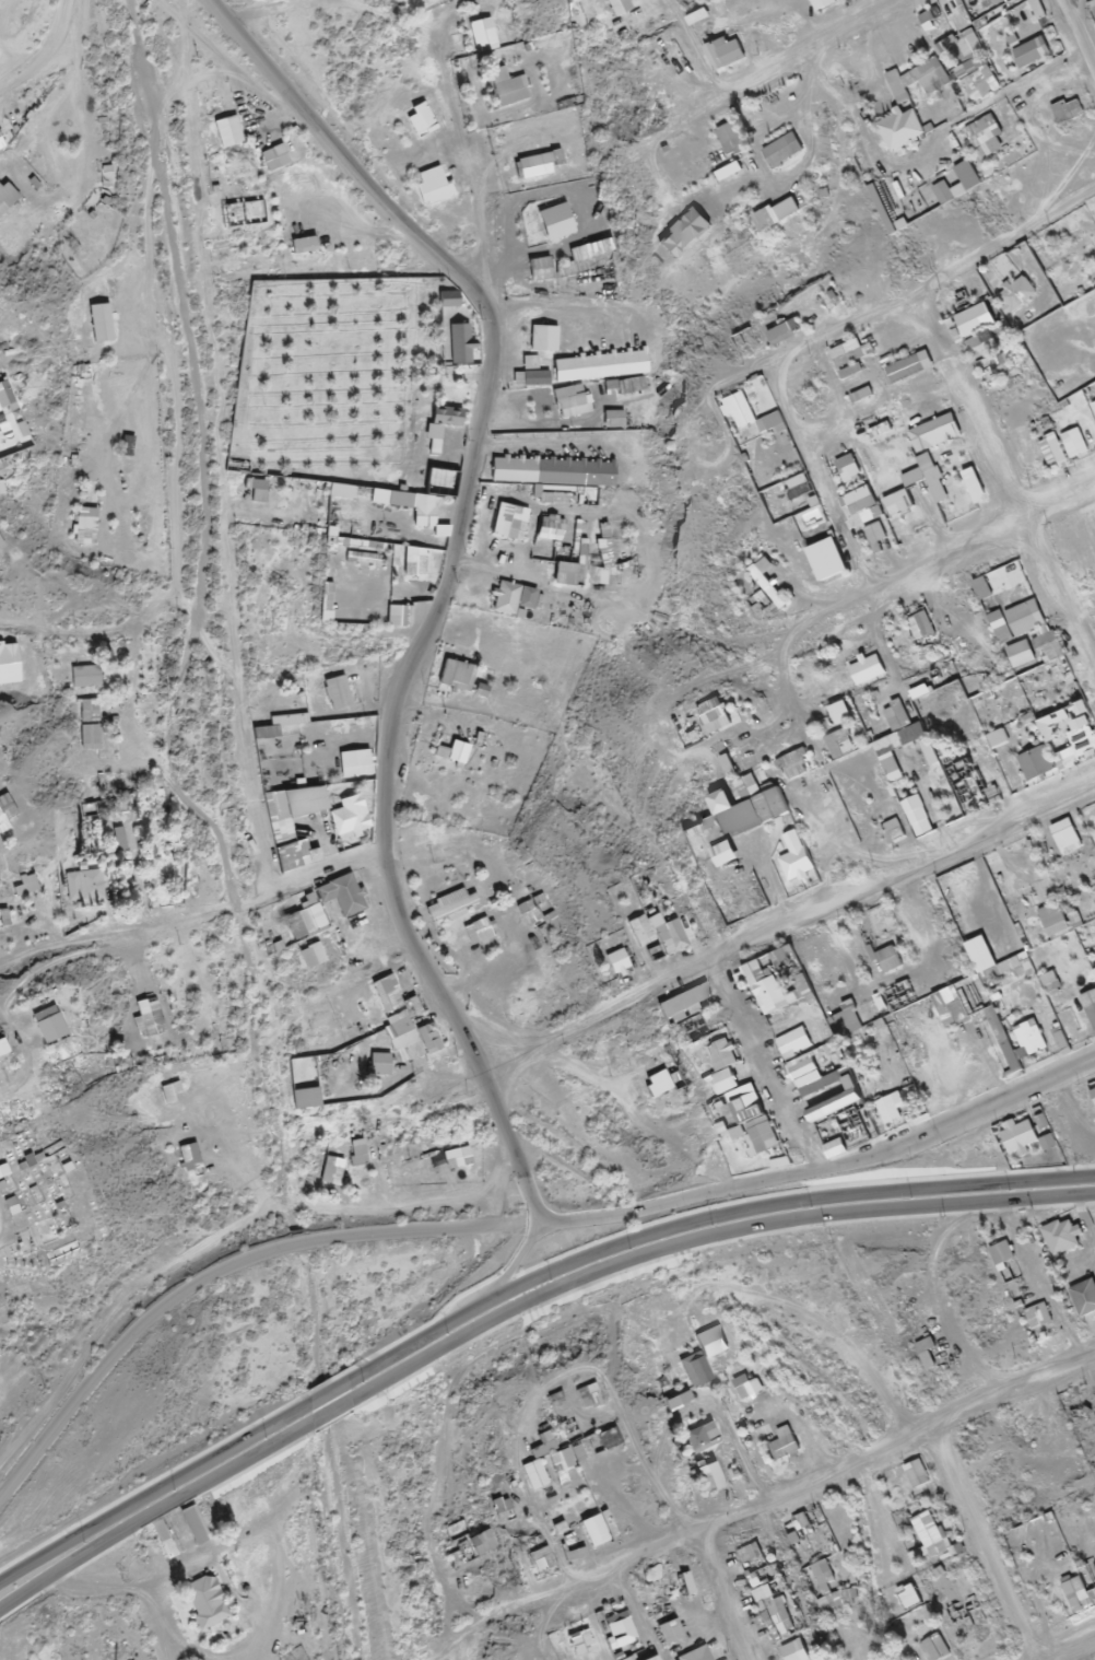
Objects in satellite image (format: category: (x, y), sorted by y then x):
park: (2, 1079)
park: (43, 1205)
road: (1072, 1649)

